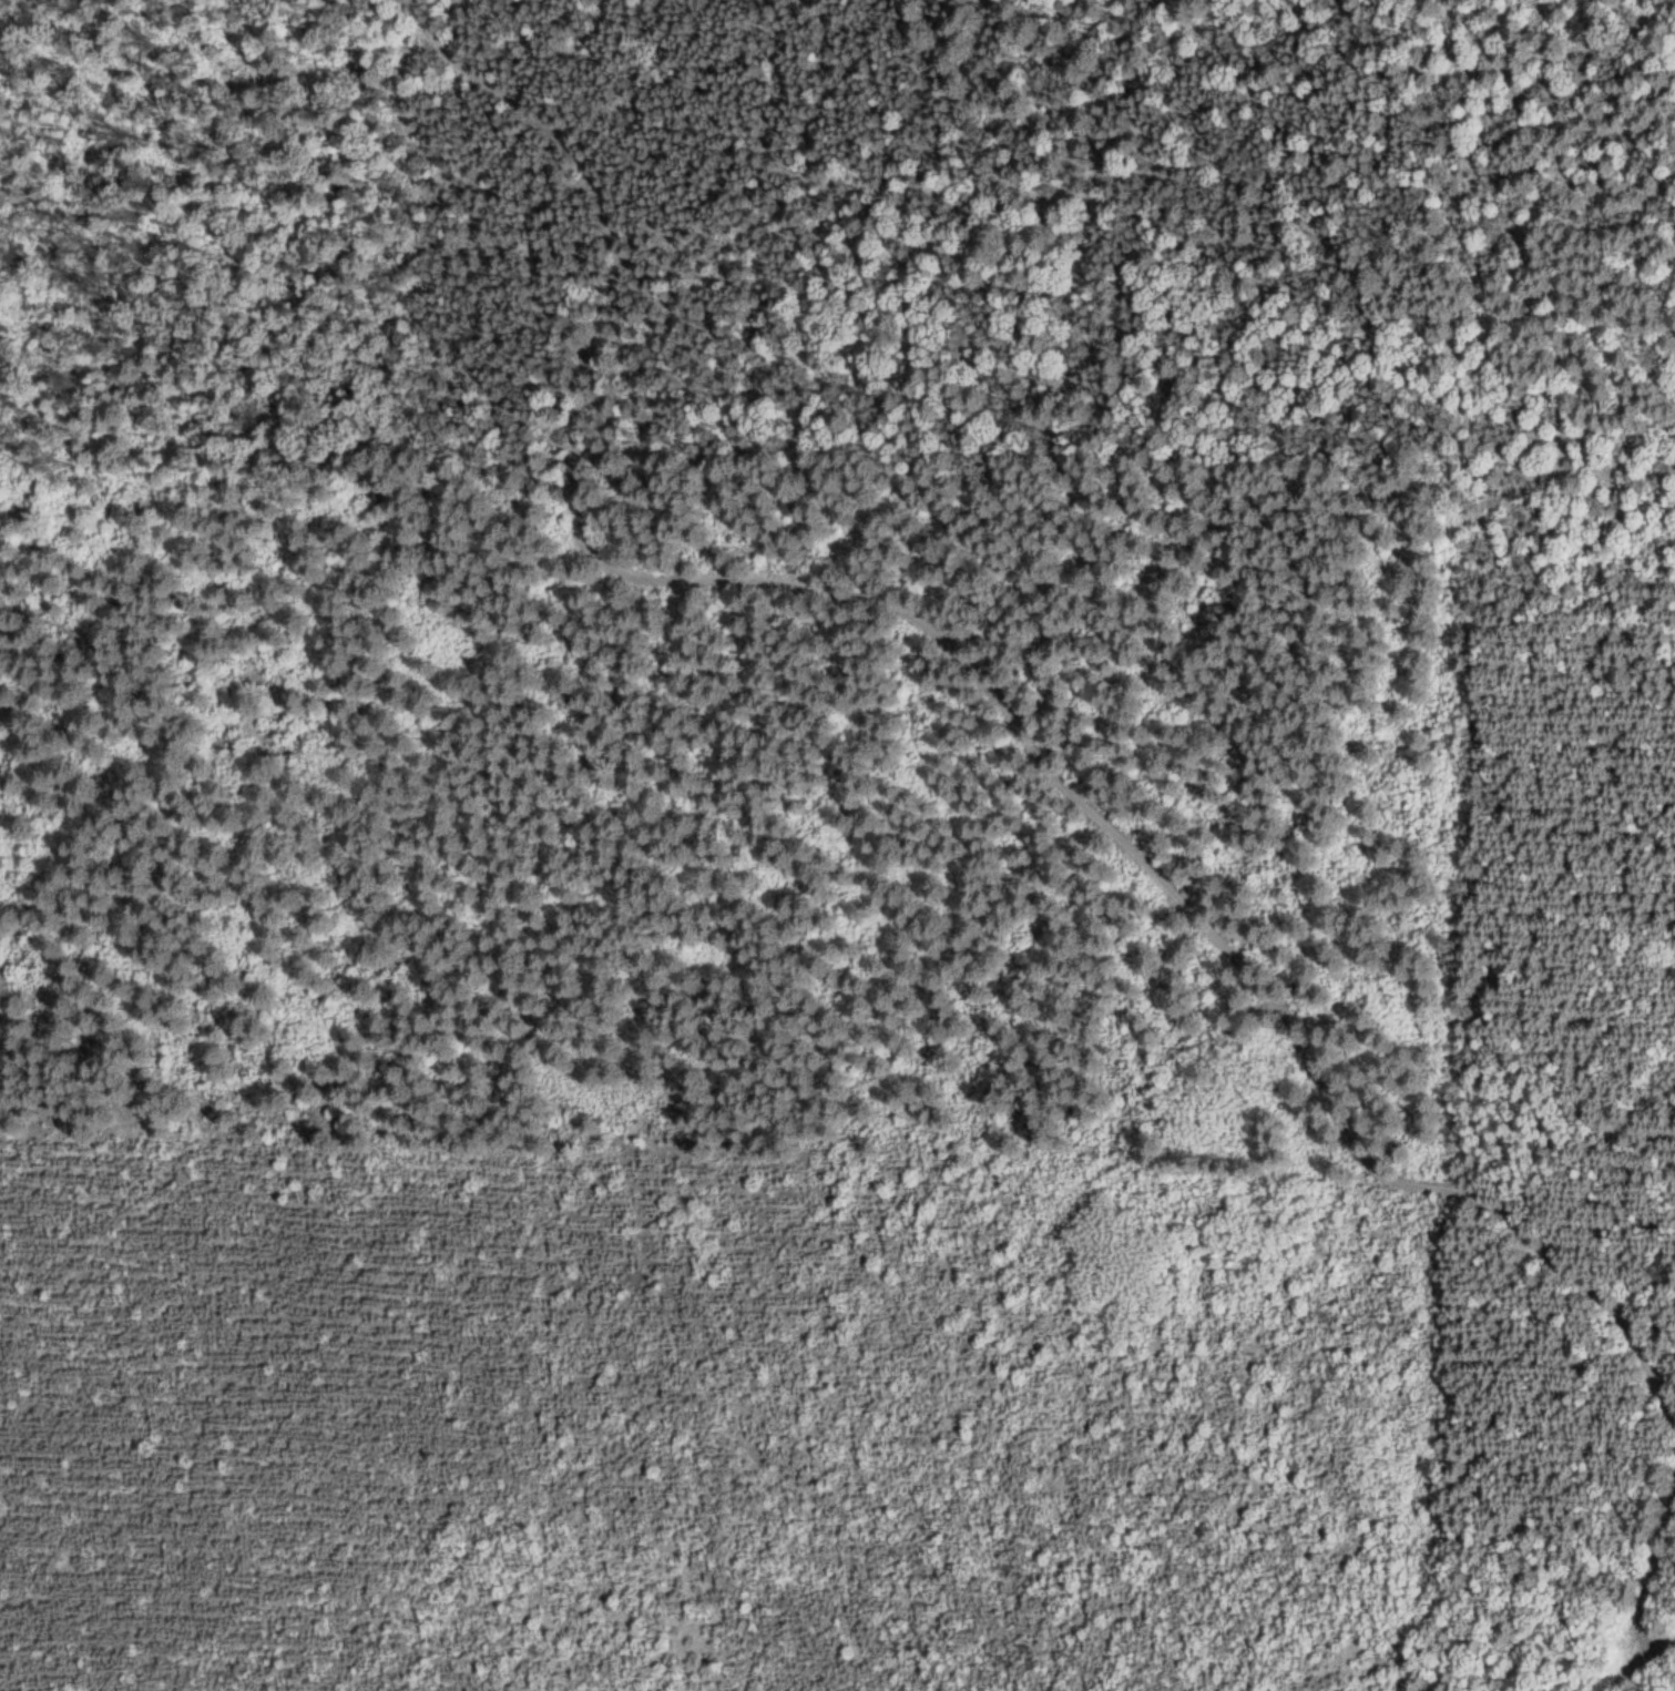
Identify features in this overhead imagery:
road: (1064, 803)
road: (1630, 1663)

